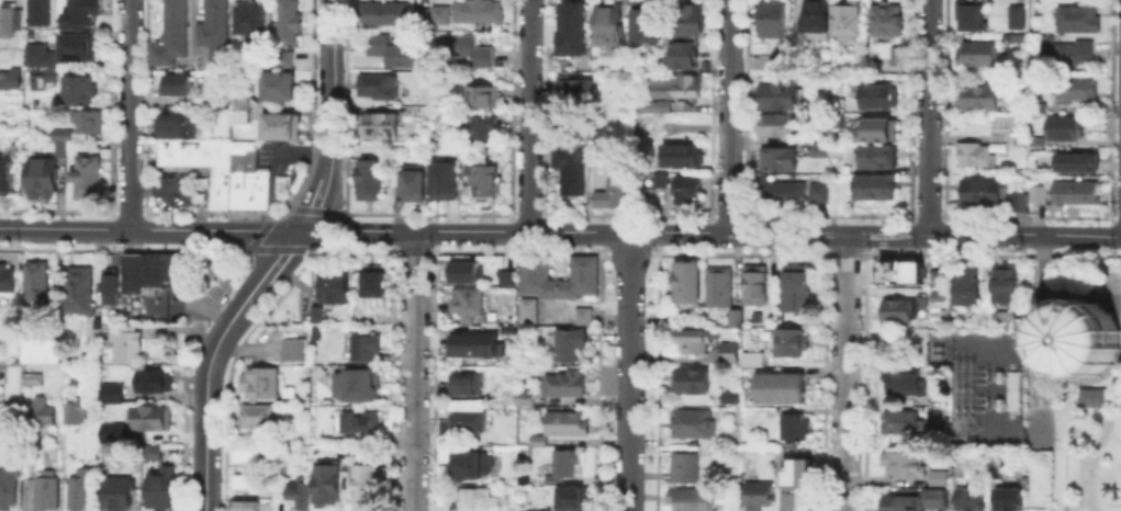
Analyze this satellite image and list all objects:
road: (328, 5)
road: (335, 5)
building: (287, 10)
building: (477, 10)
building: (31, 11)
building: (80, 12)
building: (381, 12)
building: (437, 13)
building: (417, 14)
building: (817, 15)
building: (972, 16)
building: (8, 18)
building: (772, 19)
building: (1018, 19)
building: (845, 20)
building: (1078, 20)
building: (250, 22)
building: (648, 22)
building: (887, 22)
building: (610, 25)
building: (574, 31)
building: (215, 32)
building: (285, 32)
building: (688, 34)
building: (172, 35)
building: (1020, 39)
building: (74, 44)
building: (393, 50)
building: (466, 50)
building: (37, 54)
building: (896, 54)
building: (1066, 54)
building: (282, 56)
building: (979, 56)
building: (8, 78)
building: (42, 78)
building: (677, 83)
building: (276, 84)
building: (179, 86)
building: (379, 87)
building: (1078, 91)
building: (79, 92)
road: (332, 94)
building: (578, 94)
building: (483, 98)
building: (776, 98)
building: (879, 98)
building: (982, 100)
building: (837, 107)
building: (655, 109)
building: (1041, 109)
road: (128, 114)
building: (236, 114)
road: (528, 115)
road: (729, 116)
road: (928, 117)
building: (90, 123)
building: (172, 124)
building: (278, 124)
building: (378, 127)
building: (484, 127)
building: (780, 127)
building: (879, 129)
building: (1063, 129)
building: (59, 133)
building: (582, 134)
building: (1017, 139)
building: (1040, 143)
building: (57, 147)
building: (817, 148)
building: (164, 150)
building: (198, 150)
building: (181, 151)
building: (216, 154)
road: (296, 155)
building: (682, 157)
building: (877, 157)
building: (977, 157)
building: (778, 160)
building: (1076, 164)
building: (572, 169)
building: (4, 171)
building: (234, 172)
building: (40, 177)
building: (88, 177)
building: (251, 179)
building: (442, 179)
building: (485, 179)
building: (370, 180)
road: (156, 184)
building: (415, 185)
building: (216, 188)
building: (815, 190)
building: (877, 190)
building: (688, 191)
building: (774, 191)
building: (985, 193)
building: (1040, 194)
building: (1076, 194)
building: (615, 196)
building: (1021, 203)
road: (314, 205)
traffic signals: (298, 229)
road: (313, 229)
road: (677, 231)
road: (786, 234)
road: (983, 235)
road: (270, 265)
building: (159, 270)
building: (585, 270)
building: (131, 271)
building: (899, 271)
building: (466, 273)
building: (934, 276)
building: (5, 277)
building: (509, 280)
building: (38, 284)
building: (108, 284)
building: (330, 284)
building: (688, 284)
building: (1006, 284)
building: (967, 285)
building: (756, 286)
building: (720, 287)
building: (797, 288)
building: (79, 291)
building: (377, 295)
building: (935, 295)
road: (143, 303)
building: (468, 305)
road: (198, 306)
building: (894, 310)
building: (530, 311)
building: (315, 314)
building: (583, 317)
building: (737, 319)
building: (669, 322)
building: (1007, 322)
road: (1043, 334)
building: (1085, 339)
building: (567, 340)
building: (695, 343)
building: (792, 343)
building: (475, 345)
water tower: (1080, 347)
building: (127, 348)
building: (291, 348)
building: (366, 349)
building: (42, 351)
building: (730, 354)
building: (567, 356)
building: (754, 362)
building: (10, 366)
road: (413, 371)
road: (628, 371)
road: (844, 373)
building: (32, 381)
building: (155, 382)
building: (692, 382)
building: (907, 382)
building: (354, 383)
building: (260, 384)
power substation: (980, 385)
building: (467, 386)
building: (565, 386)
park: (1077, 386)
building: (781, 390)
building: (1014, 393)
building: (113, 394)
building: (528, 399)
building: (731, 399)
building: (1094, 399)
road: (204, 401)
building: (72, 409)
building: (43, 411)
building: (260, 417)
building: (153, 419)
building: (362, 421)
building: (536, 421)
building: (468, 422)
building: (900, 424)
building: (568, 425)
building: (694, 425)
building: (940, 427)
building: (793, 429)
building: (114, 432)
building: (539, 441)
building: (155, 455)
building: (248, 457)
building: (564, 465)
building: (903, 465)
building: (471, 466)
building: (686, 468)
building: (795, 470)
building: (957, 470)
building: (939, 479)
building: (247, 481)
building: (326, 482)
building: (368, 485)
building: (7, 488)
building: (162, 489)
building: (48, 492)
building: (81, 492)
building: (120, 493)
building: (299, 495)
building: (759, 497)
building: (798, 498)
building: (575, 500)
building: (696, 500)
building: (972, 500)
building: (473, 501)
building: (917, 501)
building: (1010, 501)
building: (248, 506)

